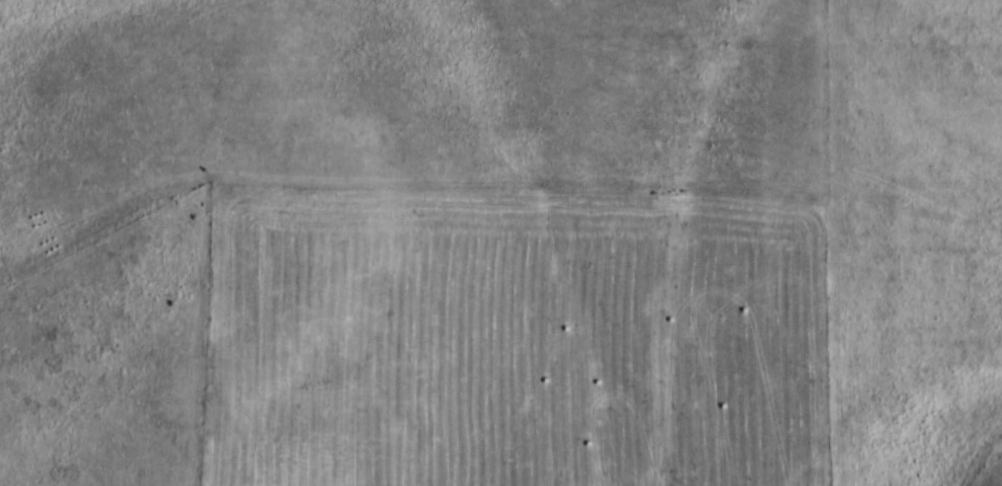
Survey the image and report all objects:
road: (830, 242)

